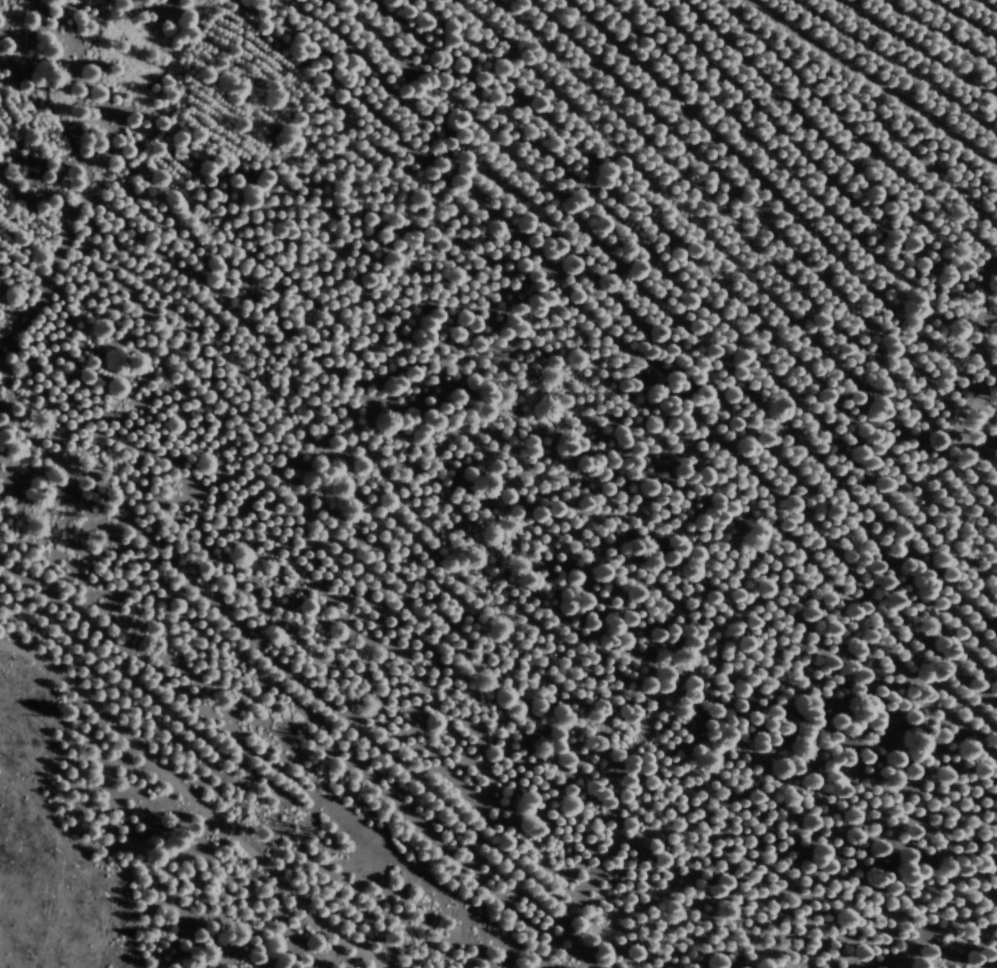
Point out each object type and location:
road: (206, 800)

